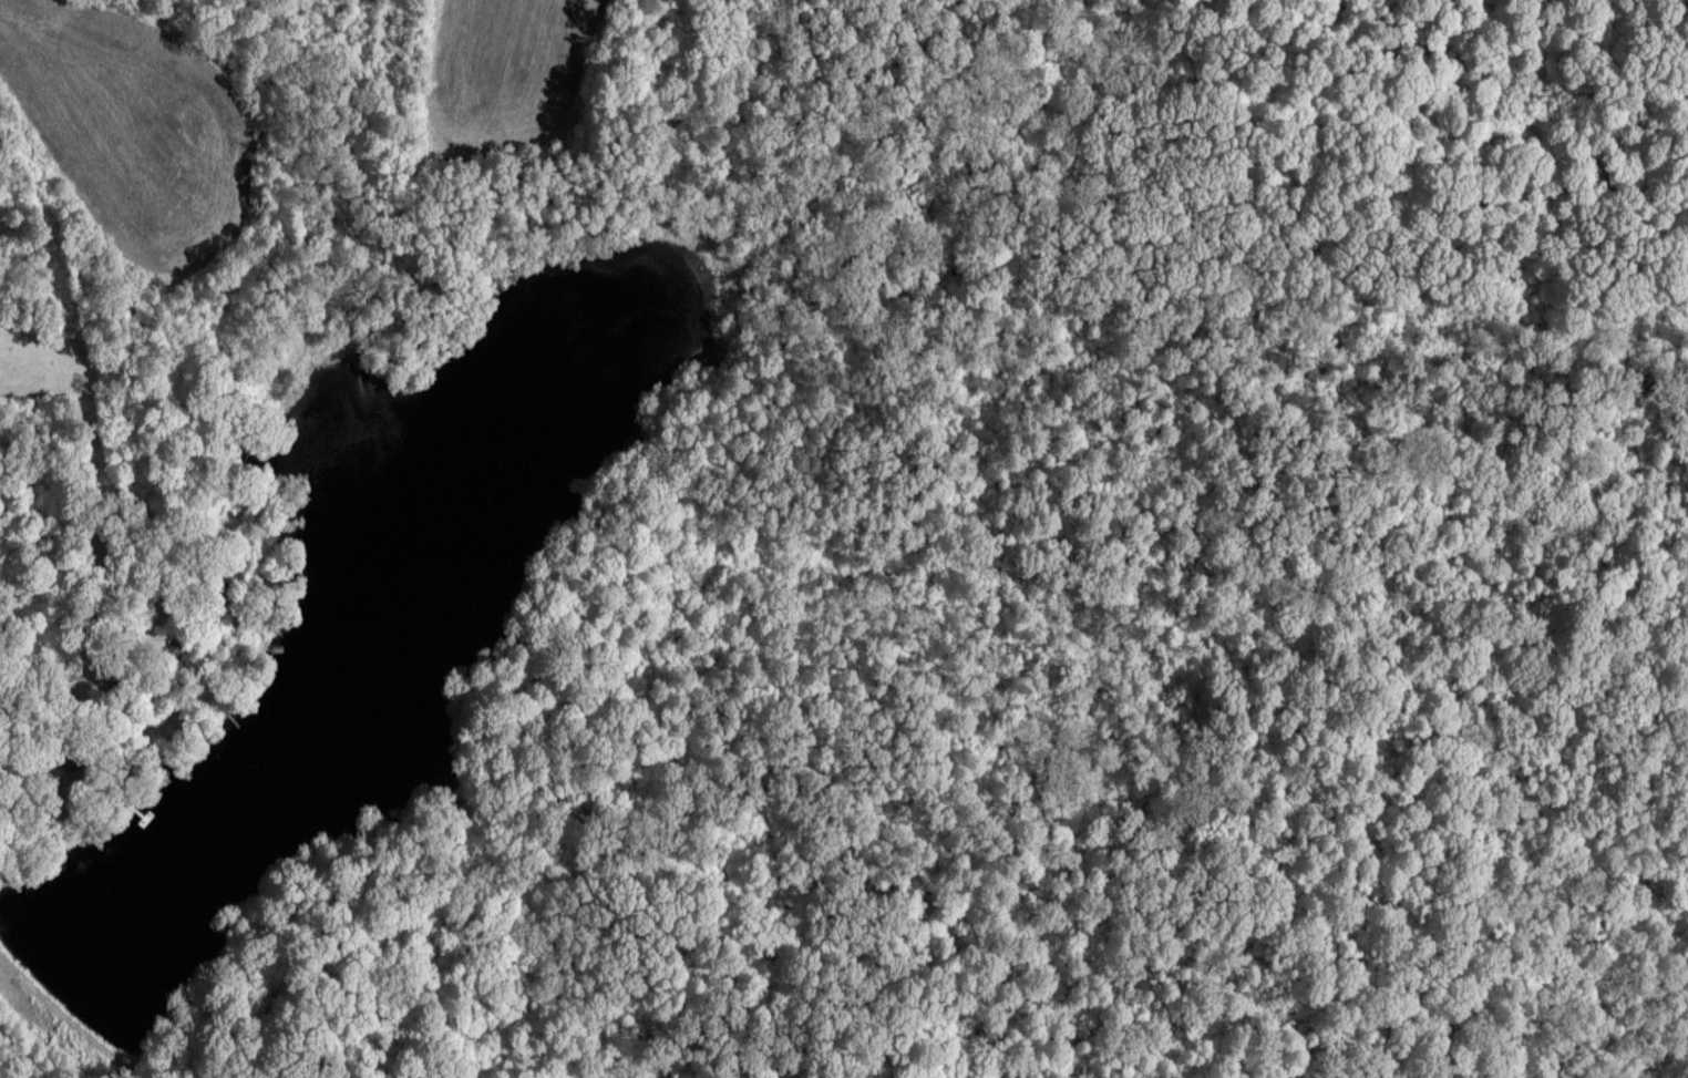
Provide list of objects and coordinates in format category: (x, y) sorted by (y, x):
dam: (51, 1000)

